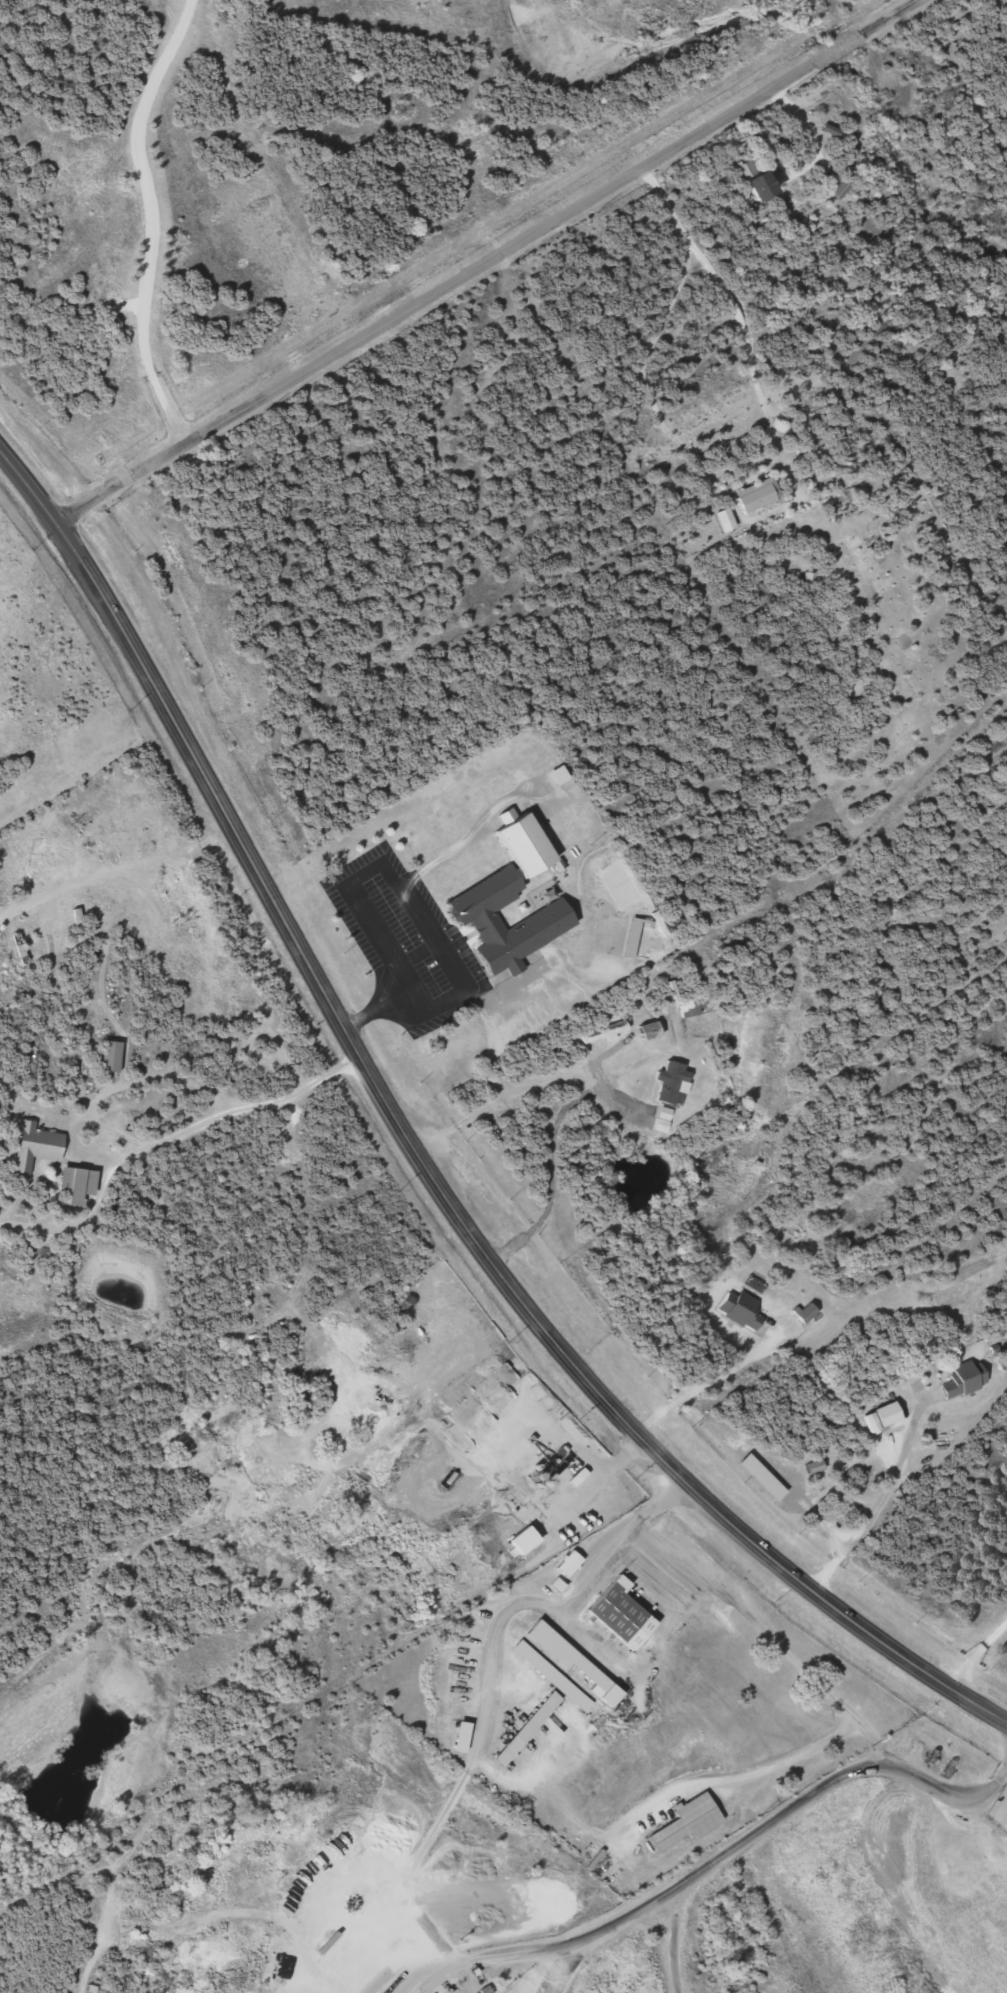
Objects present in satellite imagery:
building: (750, 170)
road: (144, 223)
road: (493, 261)
road: (726, 289)
building: (761, 498)
building: (729, 521)
building: (117, 820)
building: (527, 843)
building: (61, 862)
road: (112, 862)
building: (9, 882)
building: (188, 899)
building: (477, 917)
building: (643, 939)
building: (23, 950)
building: (694, 1007)
building: (655, 1029)
building: (114, 1056)
building: (39, 1147)
road: (419, 1156)
building: (80, 1184)
building: (743, 1310)
building: (809, 1314)
building: (966, 1380)
building: (890, 1414)
building: (817, 1467)
building: (764, 1478)
road: (882, 1497)
building: (527, 1540)
building: (571, 1564)
road: (744, 1611)
building: (624, 1615)
road: (980, 1656)
building: (575, 1661)
building: (554, 1677)
building: (529, 1730)
building: (690, 1821)
road: (753, 1832)

